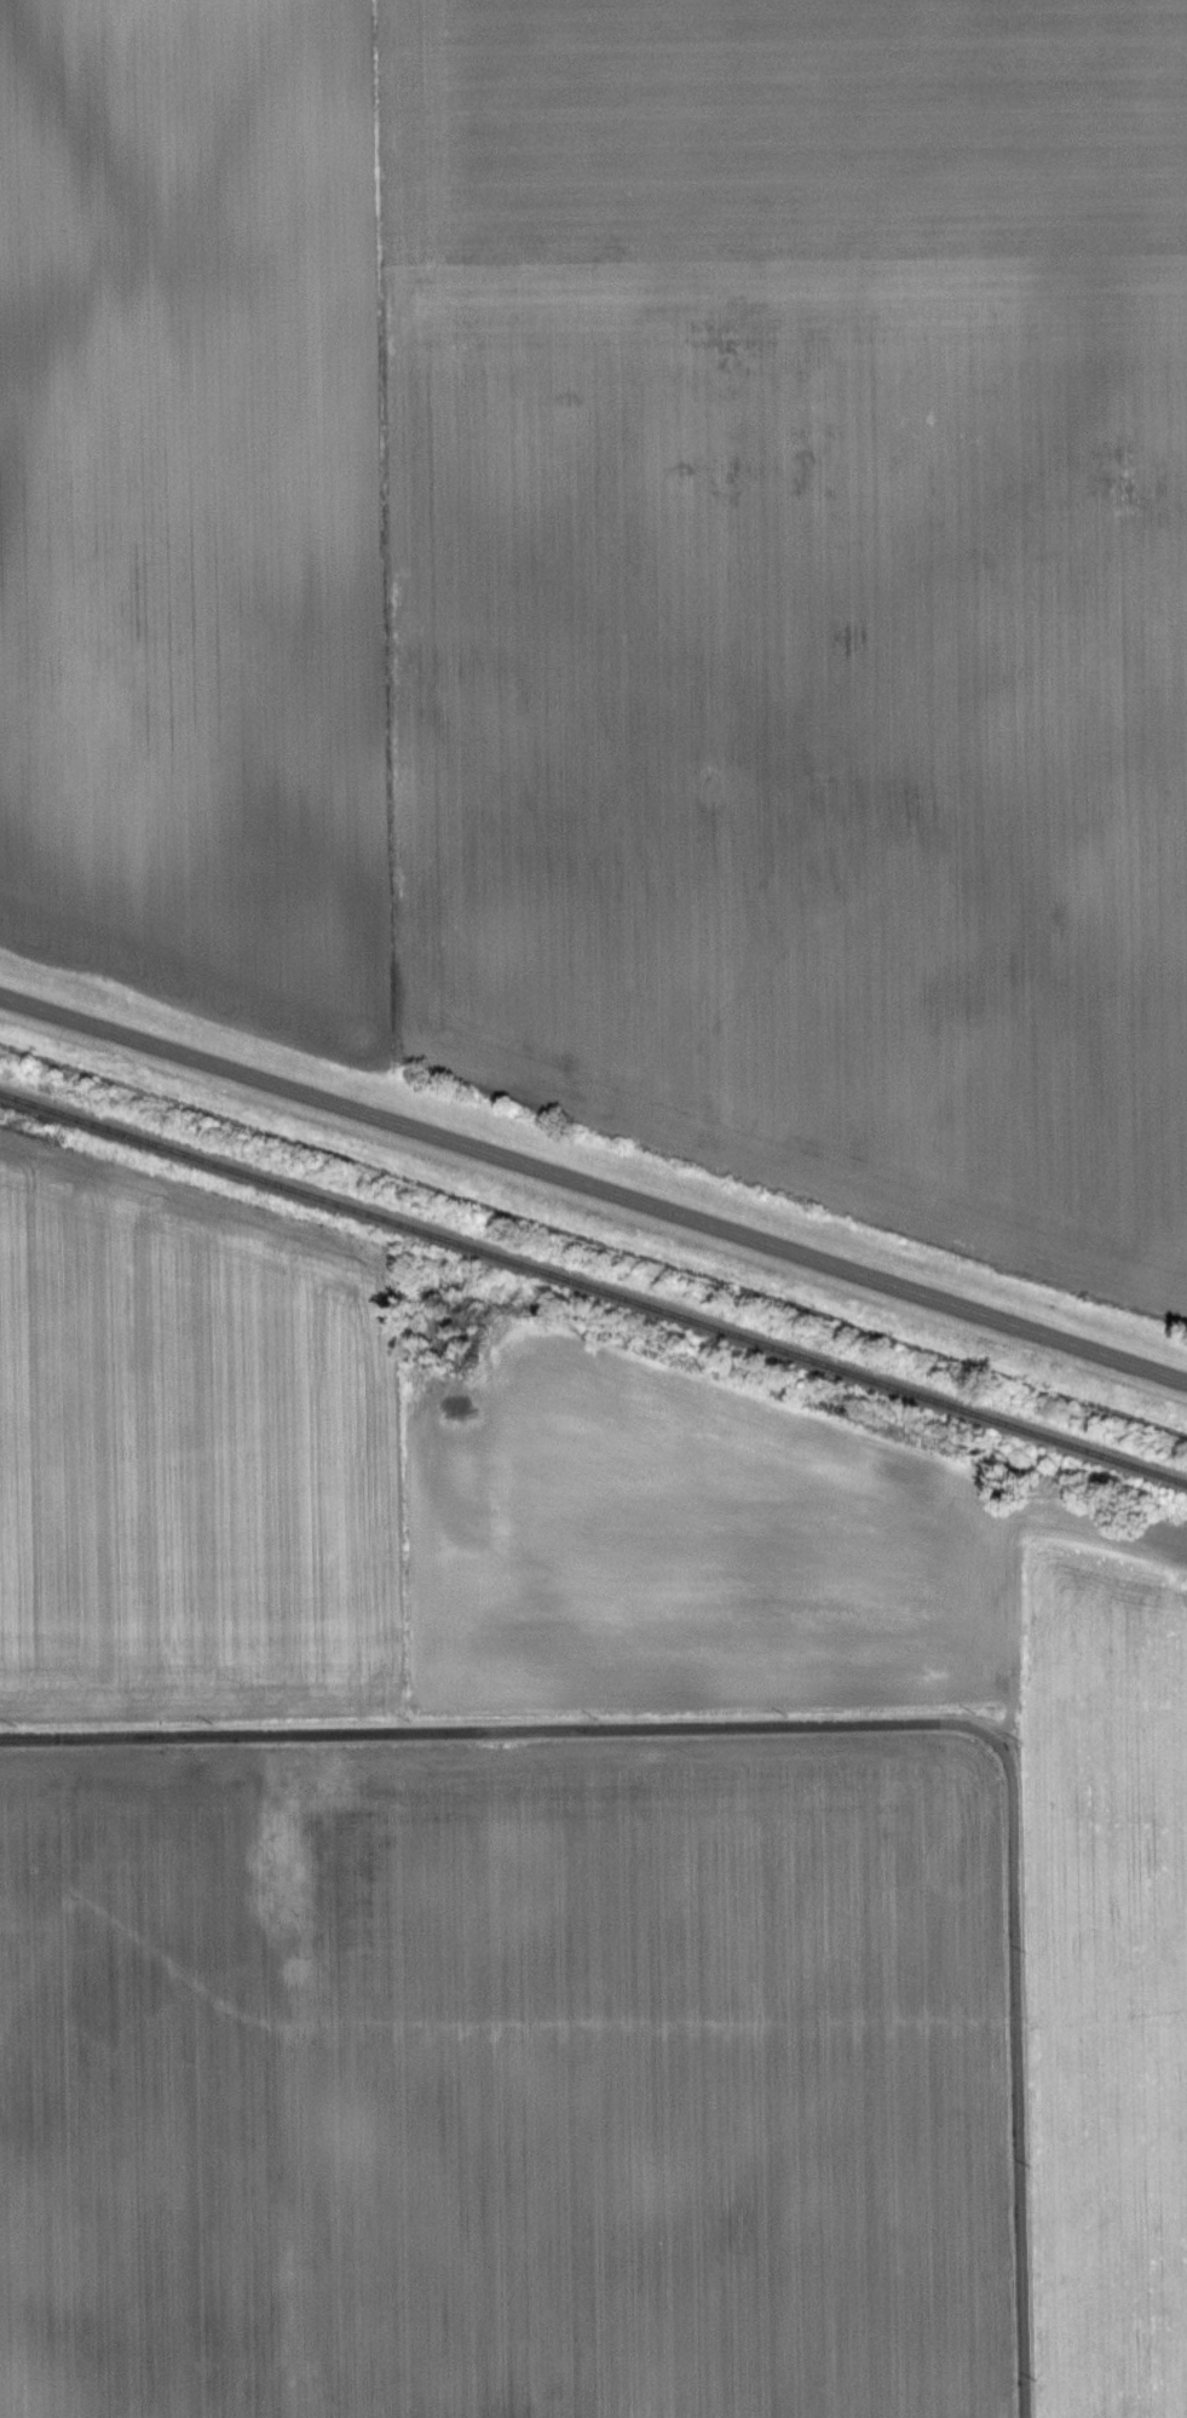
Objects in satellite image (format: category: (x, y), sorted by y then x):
road: (594, 1187)
railway: (593, 1288)
road: (839, 1724)

